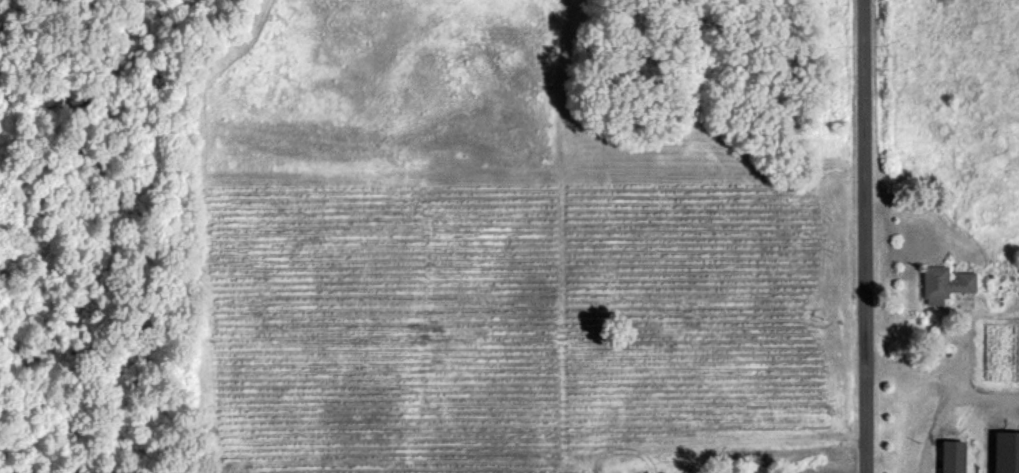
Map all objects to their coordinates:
road: (868, 236)
building: (942, 283)
road: (949, 382)
building: (1005, 451)
building: (950, 456)

